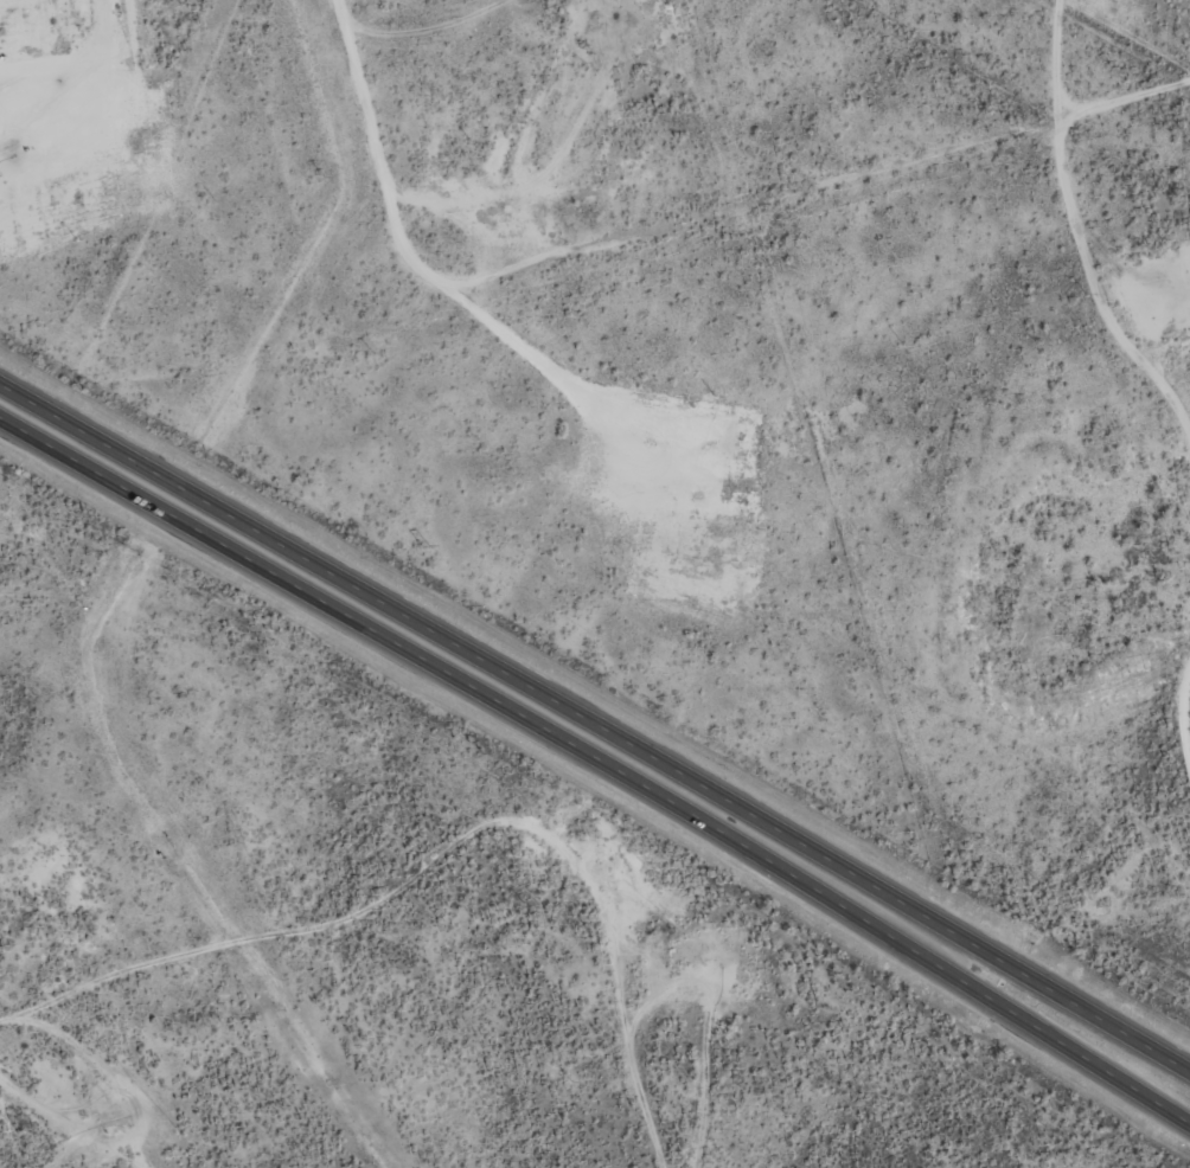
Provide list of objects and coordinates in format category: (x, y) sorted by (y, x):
road: (596, 725)
road: (601, 762)
road: (481, 832)

